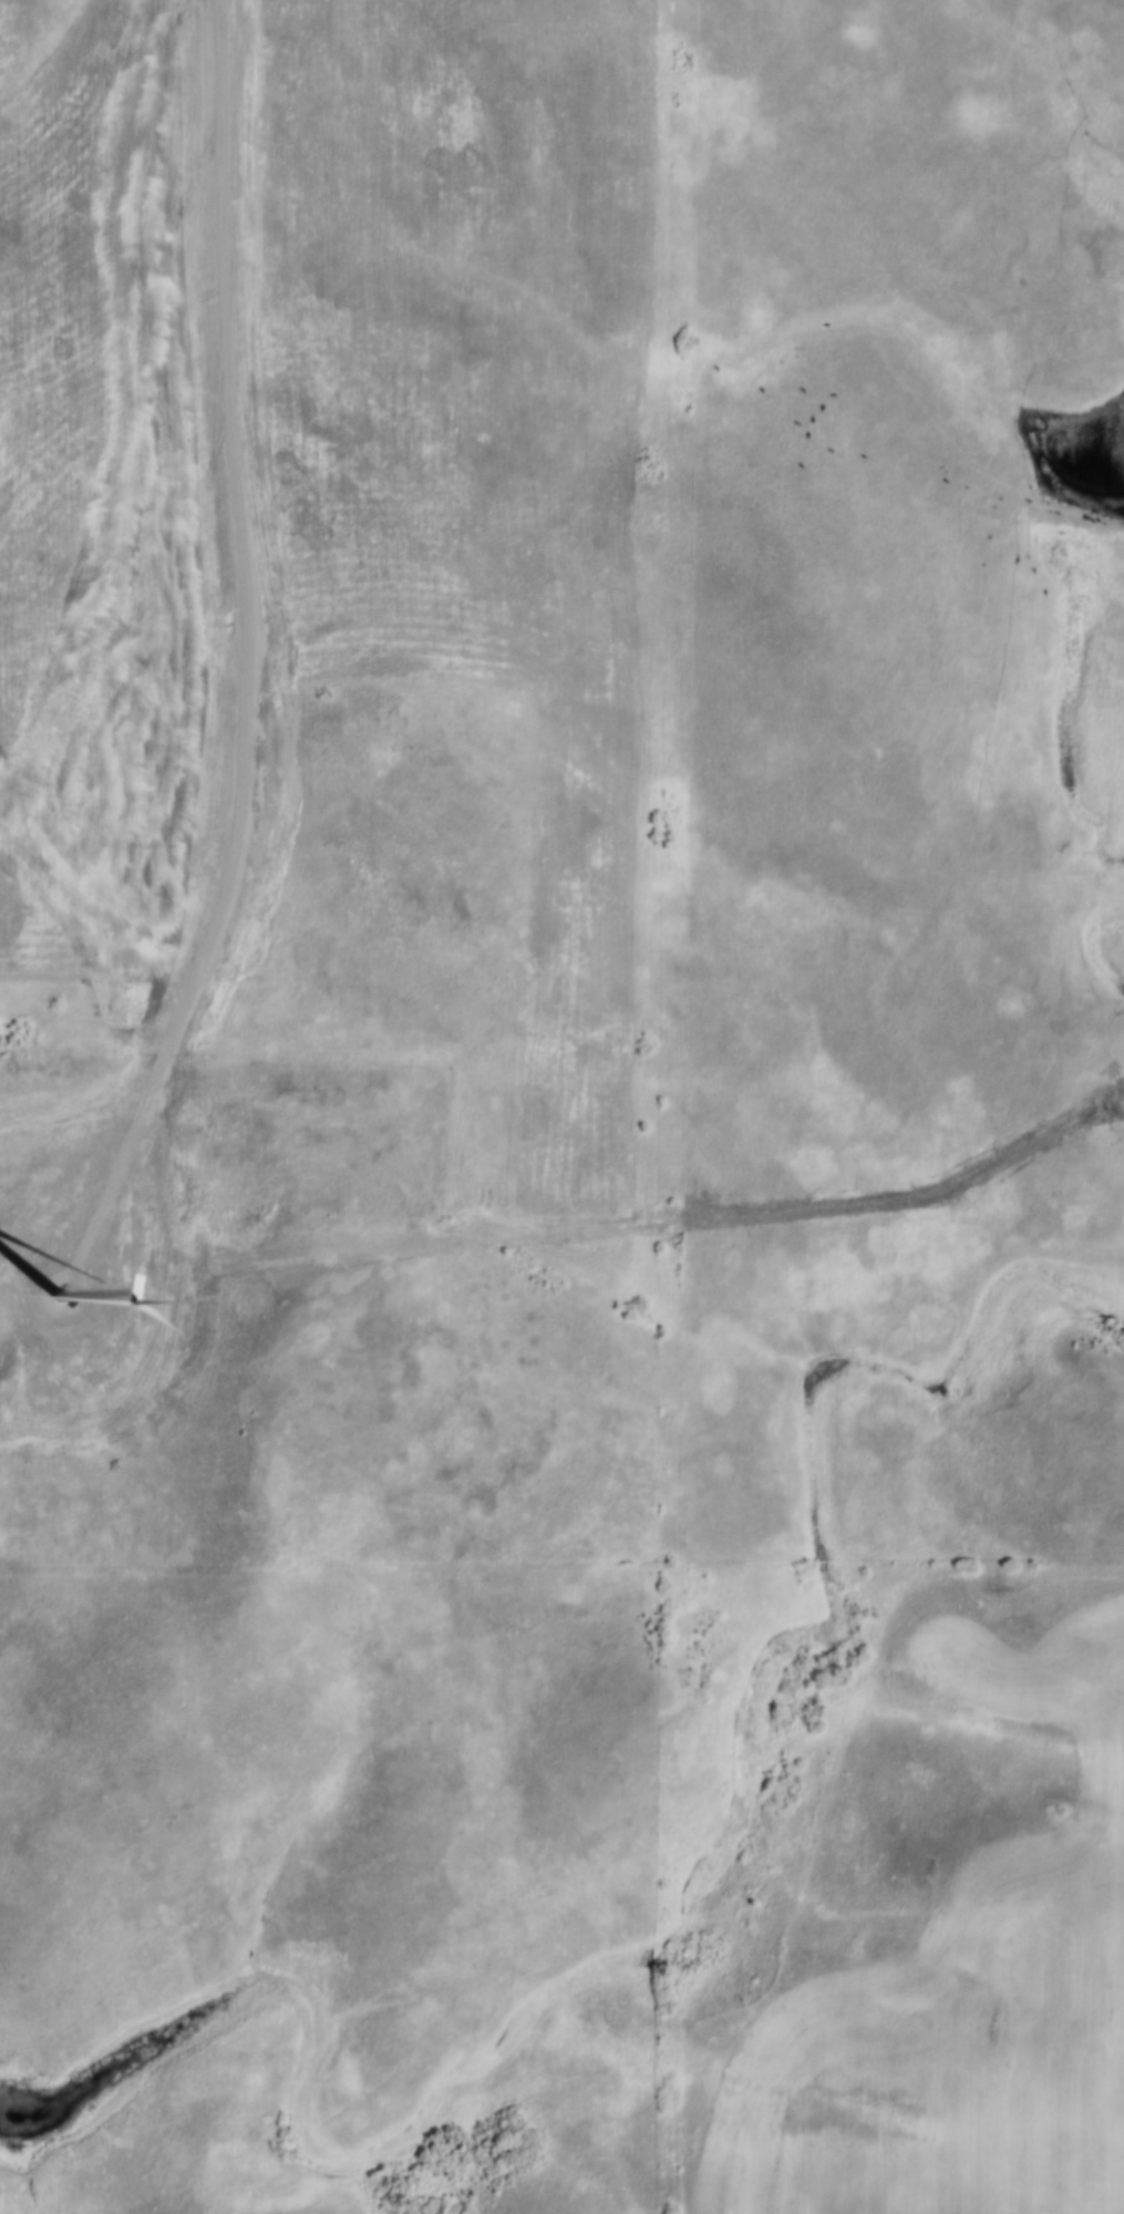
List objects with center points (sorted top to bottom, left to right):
wind turbine: (43, 1289)

